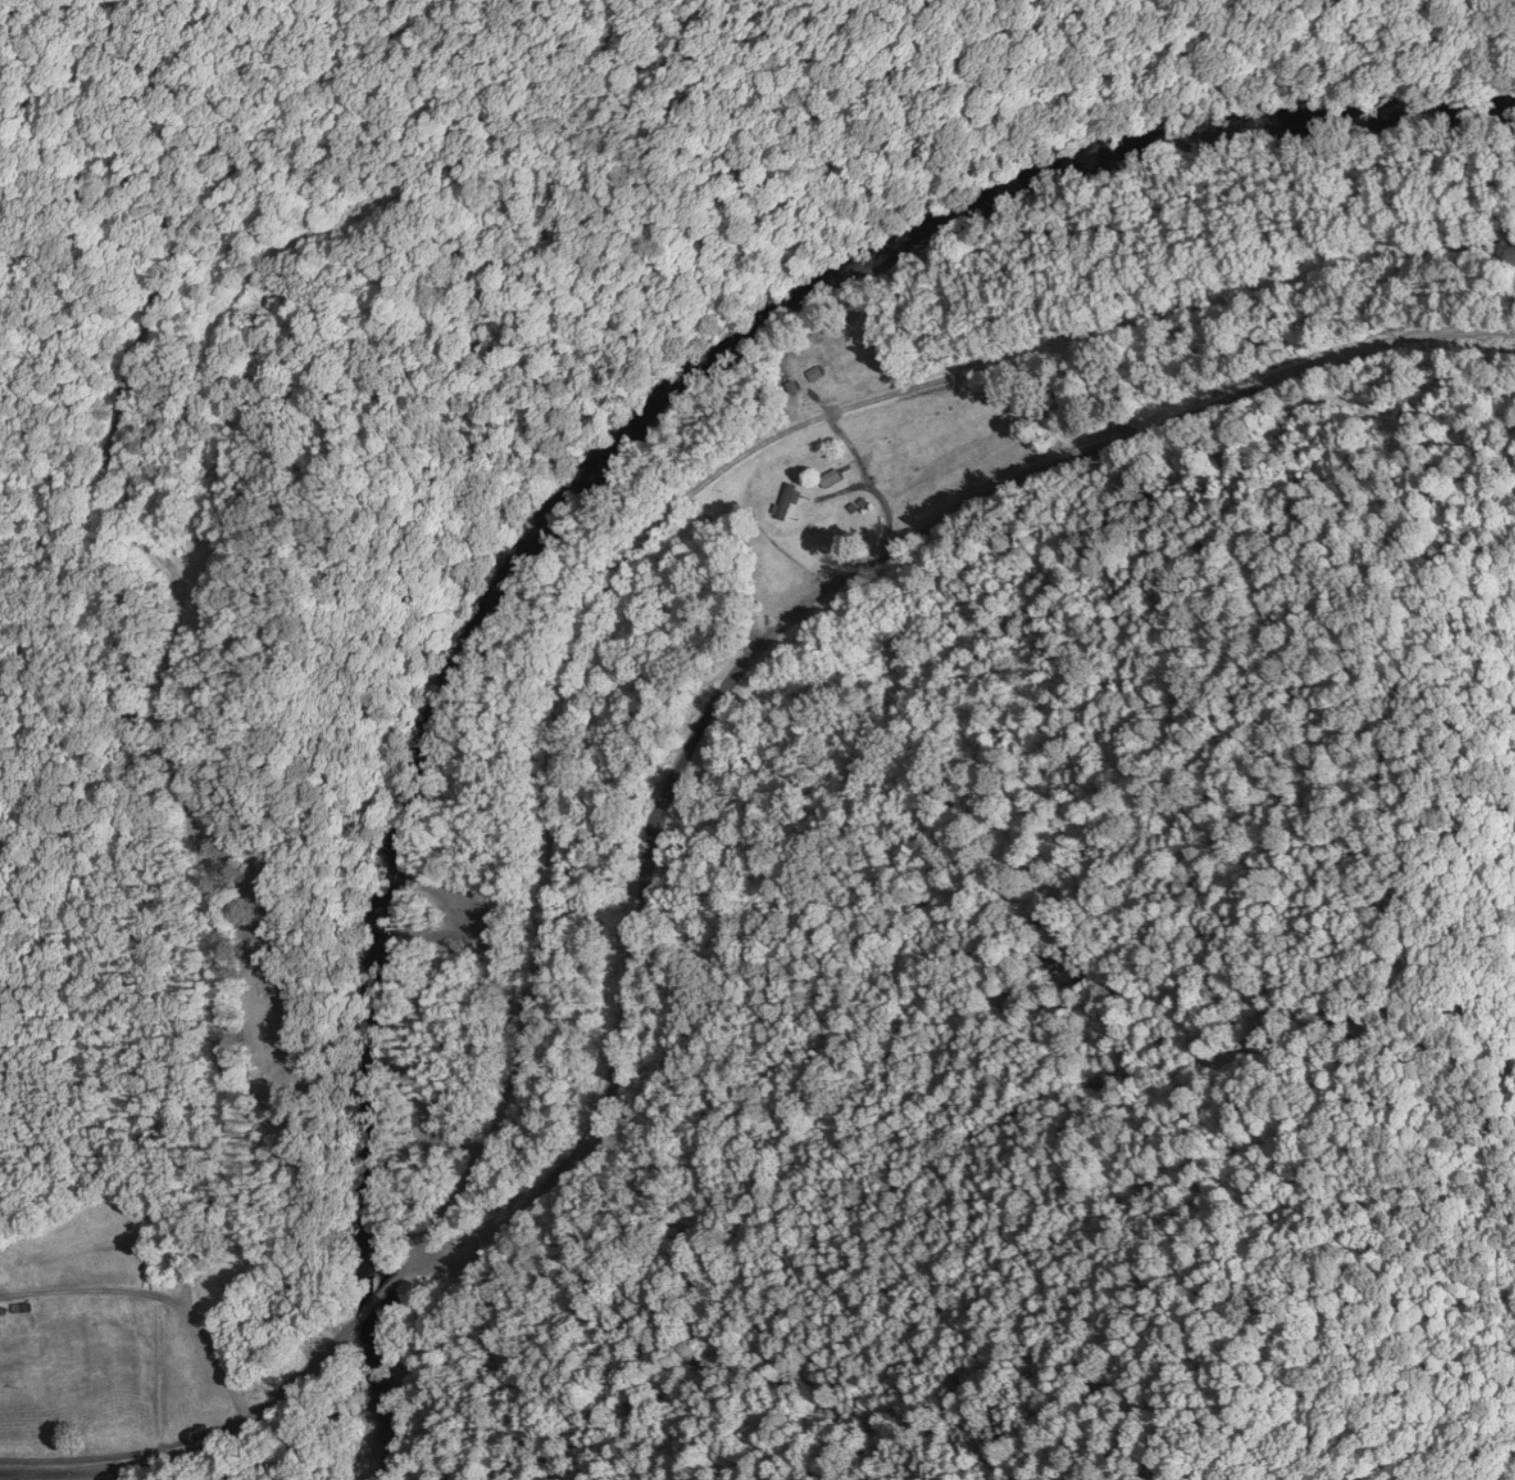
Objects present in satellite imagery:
building: (826, 477)
road: (882, 689)
road: (658, 815)

